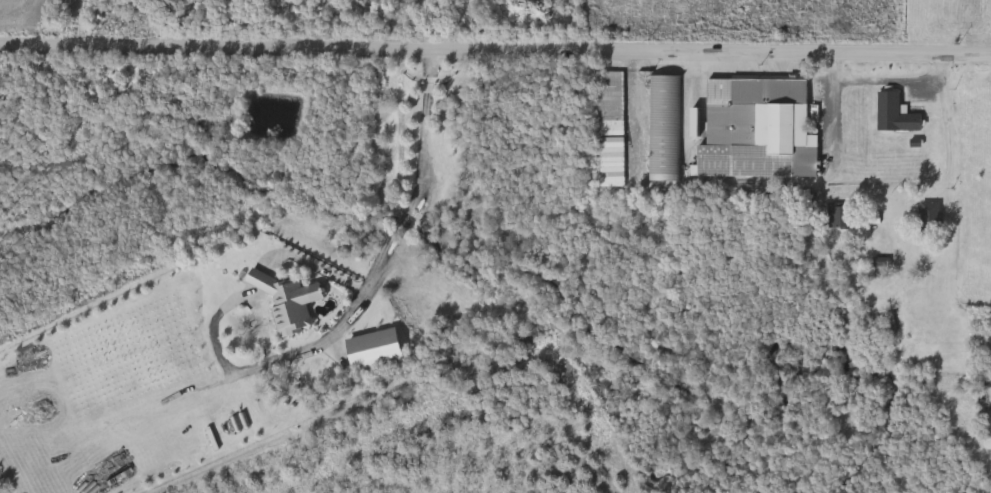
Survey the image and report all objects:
road: (495, 51)
road: (897, 81)
building: (611, 97)
road: (841, 114)
building: (897, 115)
building: (666, 125)
building: (759, 131)
road: (959, 150)
building: (842, 215)
road: (394, 253)
building: (290, 302)
building: (892, 323)
building: (378, 350)

